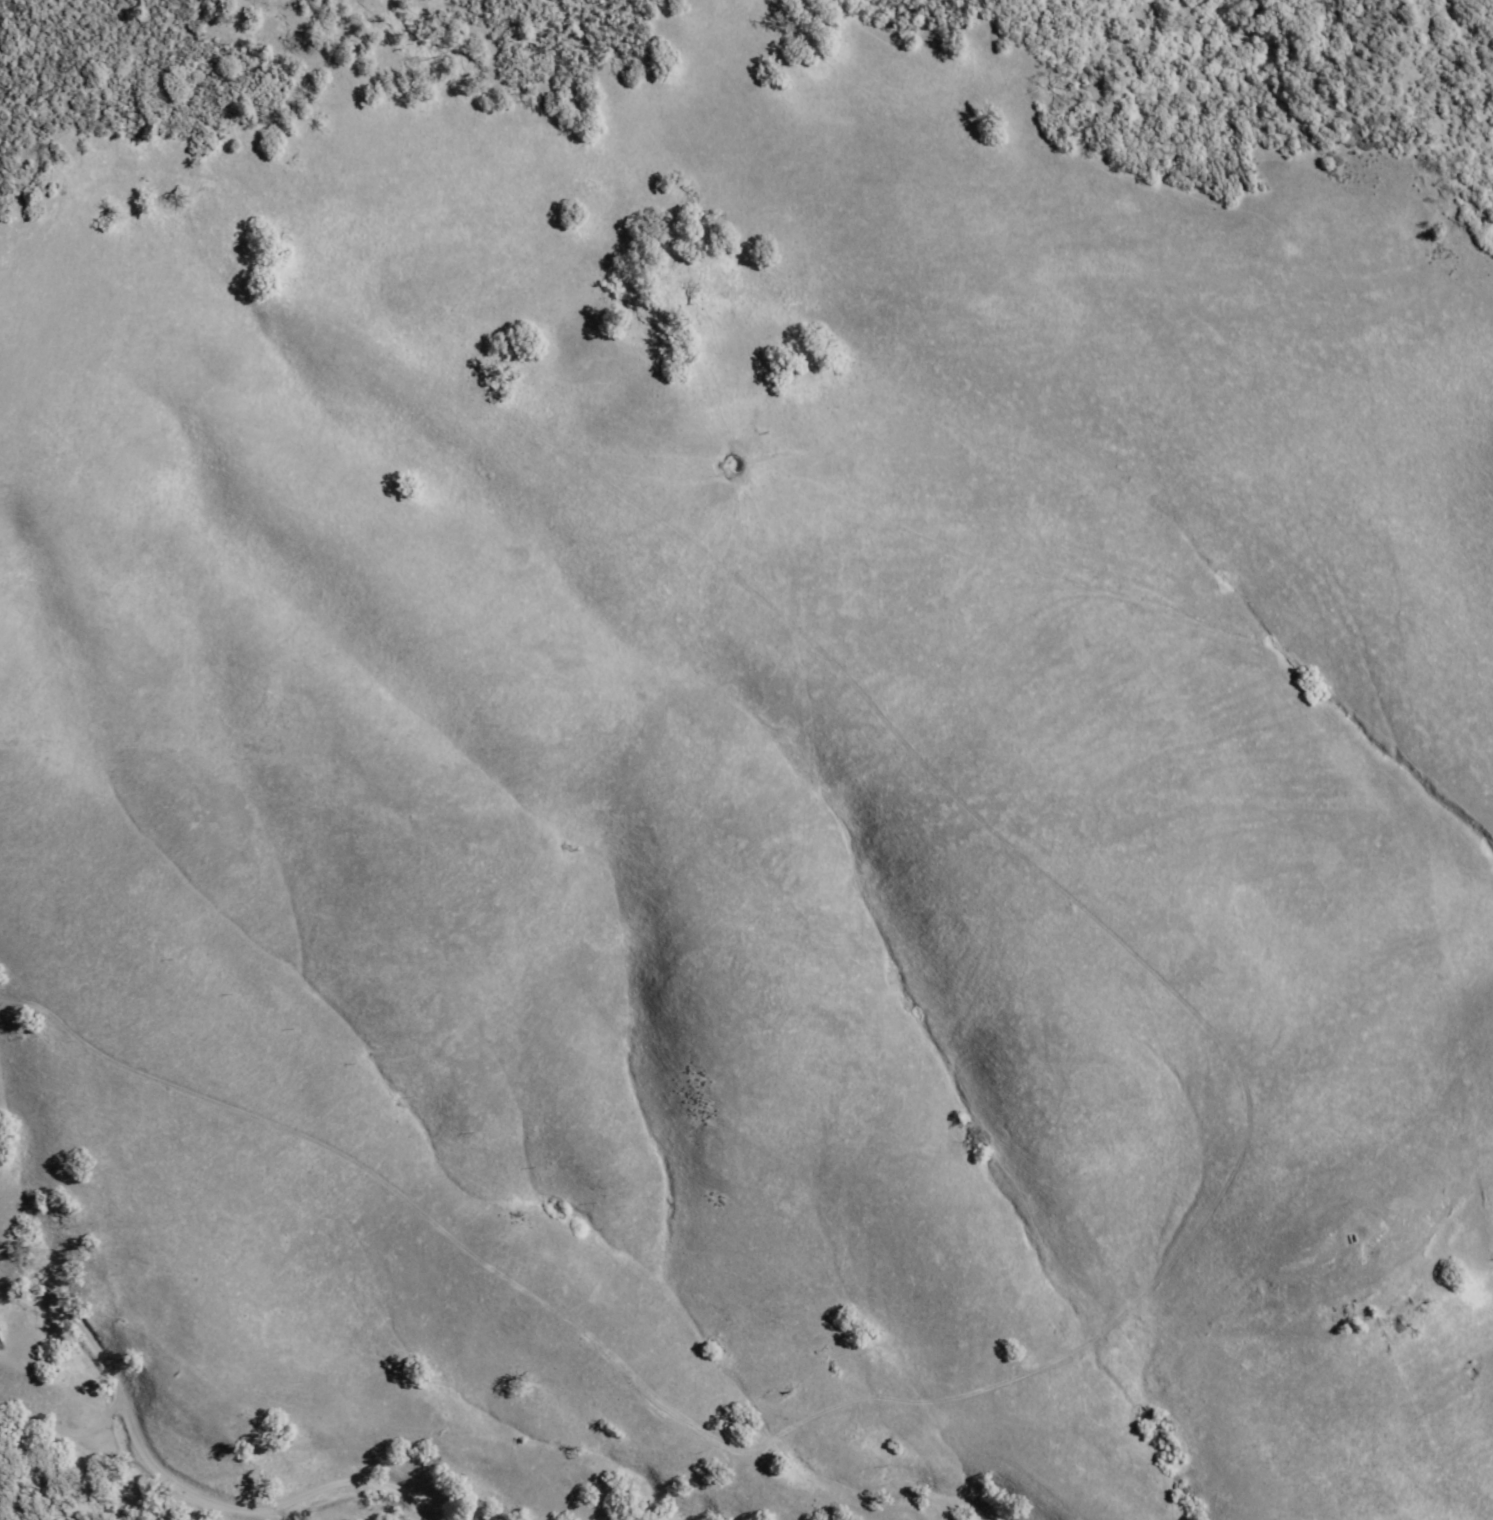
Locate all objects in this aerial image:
road: (970, 1383)
road: (64, 1433)
road: (201, 1491)

